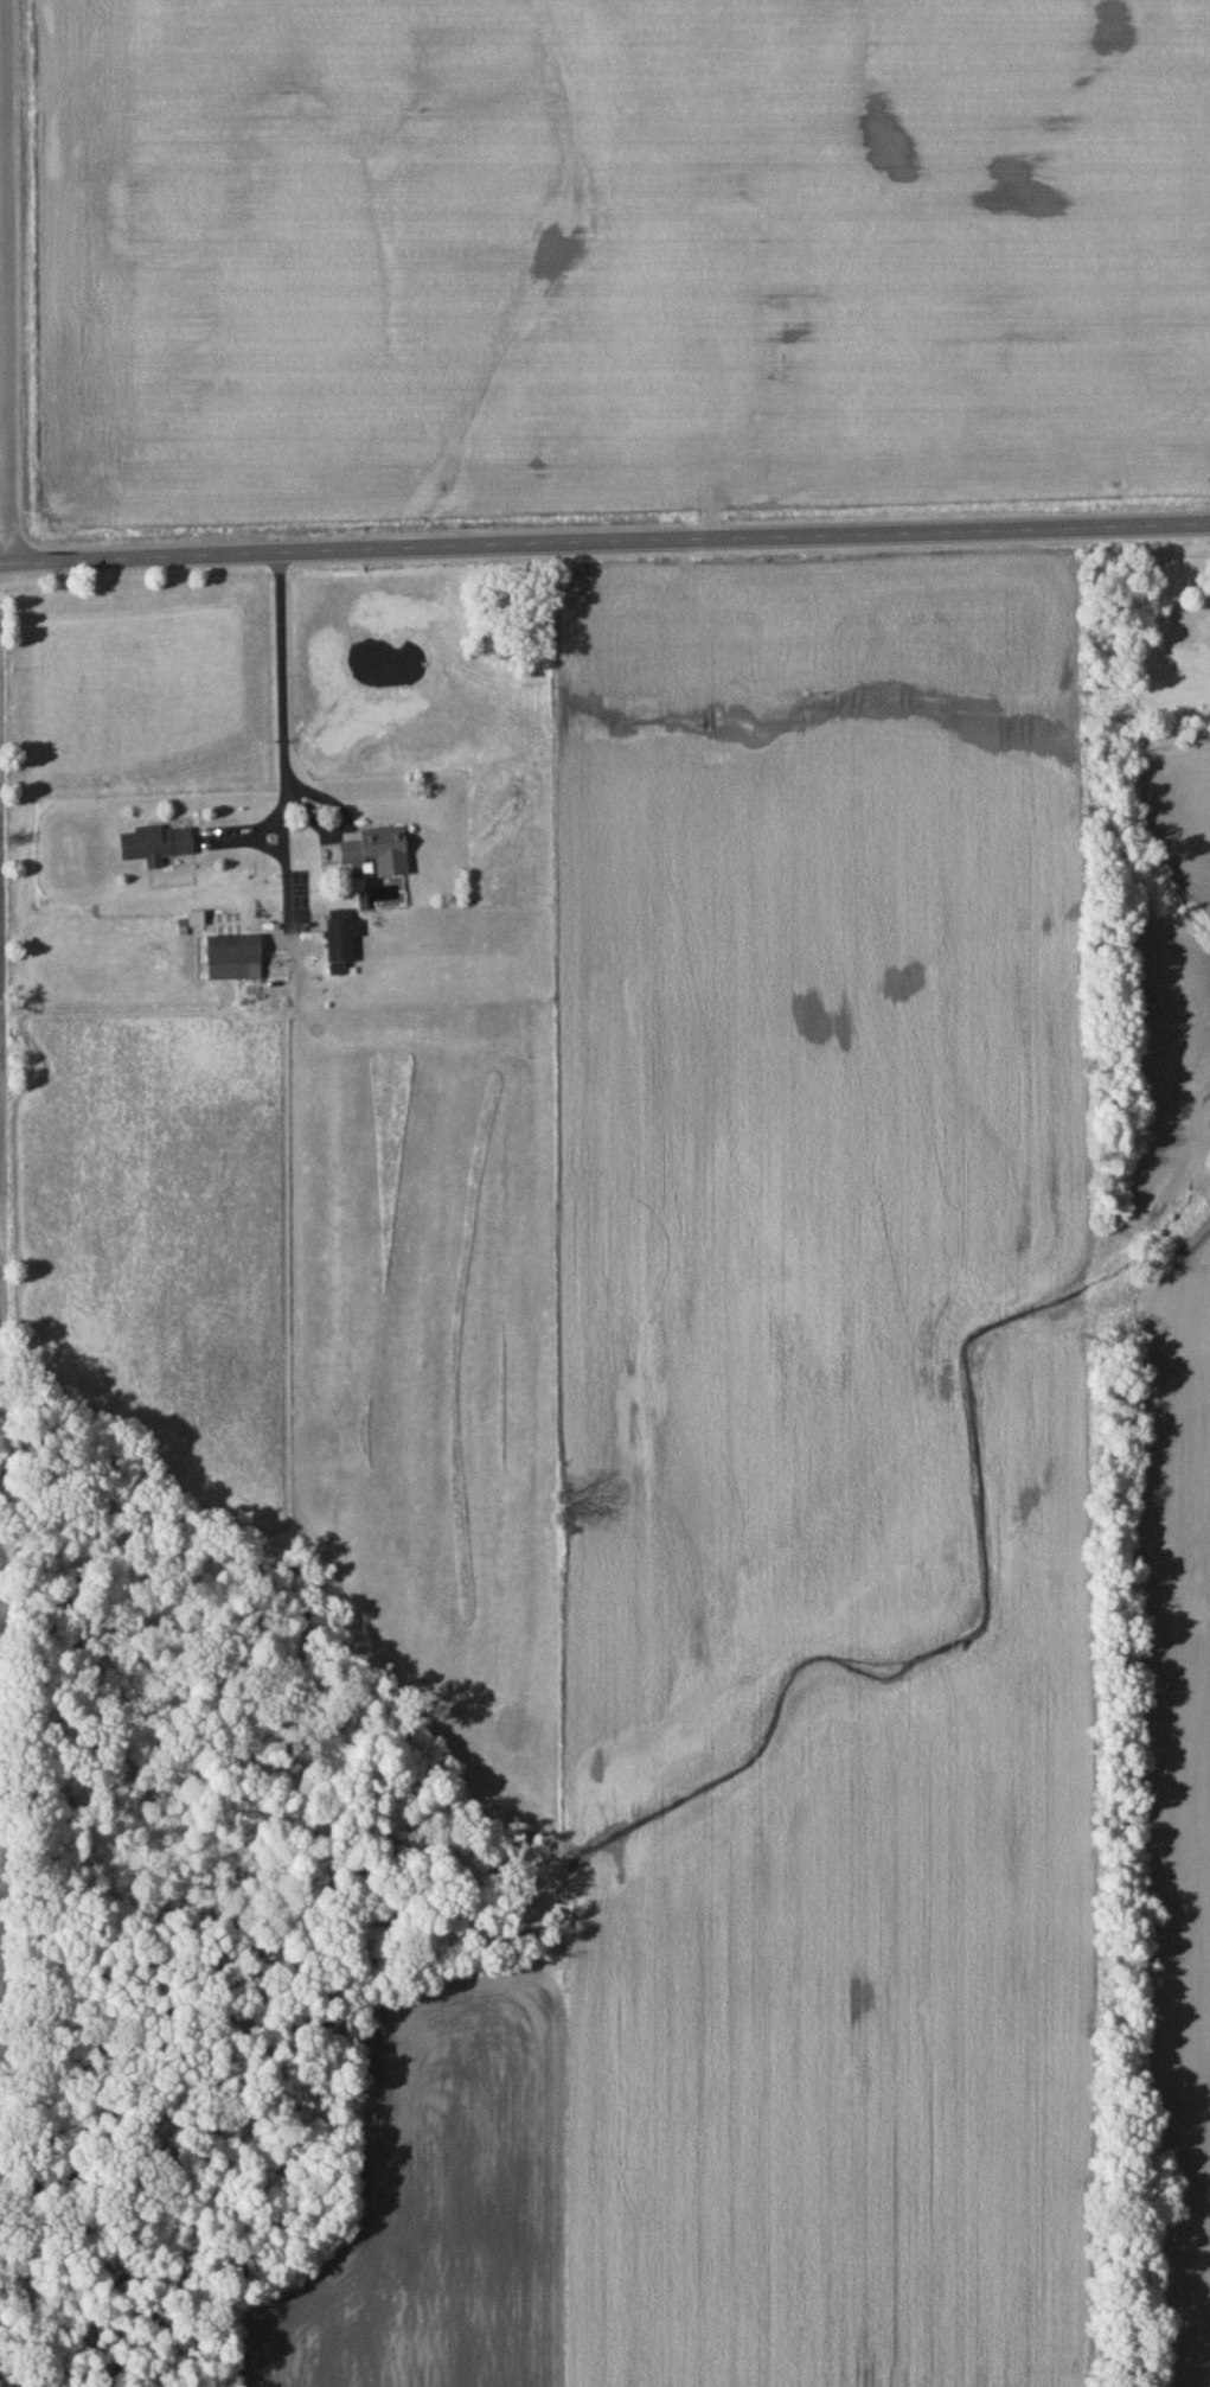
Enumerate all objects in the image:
road: (6, 281)
road: (604, 544)
building: (1206, 640)
road: (282, 746)
building: (156, 849)
building: (379, 857)
building: (341, 945)
building: (236, 962)

